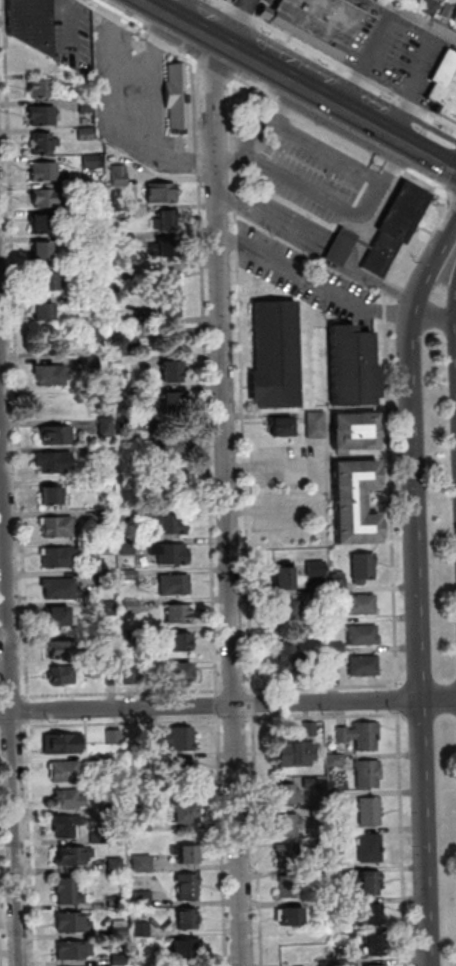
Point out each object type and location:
building: (402, 0)
parking lot: (260, 3)
parking lot: (365, 5)
building: (431, 8)
building: (449, 11)
road: (420, 18)
building: (318, 22)
building: (30, 23)
road: (137, 30)
parking lot: (75, 37)
parking lot: (398, 51)
road: (336, 63)
road: (259, 64)
road: (213, 72)
building: (444, 85)
building: (41, 90)
building: (74, 90)
building: (175, 97)
parking lot: (140, 101)
road: (289, 105)
building: (89, 107)
building: (43, 117)
building: (88, 135)
road: (390, 135)
road: (305, 138)
road: (334, 138)
building: (44, 144)
road: (429, 156)
building: (94, 163)
parking lot: (315, 169)
building: (45, 173)
road: (445, 175)
building: (121, 176)
building: (92, 189)
building: (162, 193)
road: (326, 198)
building: (48, 199)
road: (446, 199)
building: (128, 214)
building: (92, 215)
building: (169, 223)
building: (43, 226)
building: (394, 226)
building: (128, 241)
building: (81, 242)
building: (339, 245)
building: (165, 251)
building: (42, 254)
road: (432, 266)
building: (87, 270)
building: (128, 270)
building: (166, 281)
road: (314, 281)
building: (50, 283)
building: (79, 301)
building: (130, 308)
building: (170, 313)
road: (436, 313)
building: (45, 315)
building: (102, 339)
road: (455, 343)
building: (125, 346)
road: (18, 348)
building: (277, 358)
building: (93, 365)
building: (354, 371)
building: (172, 374)
road: (209, 375)
building: (52, 378)
road: (244, 385)
building: (141, 394)
building: (174, 403)
building: (104, 405)
building: (318, 427)
building: (108, 428)
building: (283, 431)
road: (388, 435)
building: (358, 436)
building: (58, 437)
building: (174, 453)
building: (55, 464)
road: (323, 484)
building: (107, 486)
building: (53, 499)
road: (227, 500)
building: (358, 507)
building: (128, 517)
building: (108, 519)
building: (173, 525)
building: (59, 528)
building: (130, 547)
building: (109, 548)
building: (173, 554)
building: (61, 559)
building: (365, 570)
building: (318, 571)
building: (130, 575)
building: (109, 578)
building: (285, 583)
building: (340, 585)
building: (176, 586)
building: (61, 590)
building: (317, 600)
building: (363, 606)
building: (133, 607)
building: (111, 608)
building: (288, 614)
building: (182, 615)
building: (335, 619)
building: (61, 620)
building: (112, 637)
building: (365, 637)
road: (419, 639)
road: (12, 645)
building: (182, 645)
building: (339, 649)
building: (65, 651)
building: (287, 659)
building: (334, 667)
building: (365, 668)
building: (182, 675)
building: (115, 676)
building: (64, 677)
building: (133, 677)
building: (305, 679)
road: (320, 686)
road: (232, 690)
road: (125, 694)
road: (15, 697)
road: (399, 700)
road: (255, 701)
road: (220, 703)
road: (228, 706)
road: (31, 711)
road: (324, 717)
road: (237, 719)
road: (129, 722)
building: (157, 737)
building: (361, 737)
building: (116, 738)
building: (183, 740)
building: (64, 745)
building: (300, 751)
building: (153, 758)
building: (336, 761)
building: (105, 762)
building: (186, 772)
building: (67, 773)
building: (369, 774)
building: (312, 783)
building: (288, 794)
building: (339, 800)
building: (70, 801)
building: (371, 812)
building: (322, 813)
building: (186, 816)
building: (290, 825)
building: (68, 826)
building: (146, 827)
building: (340, 835)
building: (100, 837)
road: (403, 837)
road: (260, 839)
road: (225, 840)
building: (371, 850)
building: (73, 853)
building: (188, 856)
building: (289, 857)
building: (116, 864)
building: (145, 865)
building: (338, 873)
building: (322, 875)
building: (371, 884)
building: (289, 888)
building: (69, 889)
building: (189, 890)
building: (143, 897)
building: (115, 901)
building: (345, 903)
building: (373, 915)
building: (188, 916)
building: (293, 917)
building: (72, 920)
building: (120, 926)
building: (142, 927)
building: (348, 932)
building: (187, 945)
building: (375, 945)
building: (74, 948)
building: (119, 958)
building: (328, 963)
building: (350, 963)
building: (373, 965)

